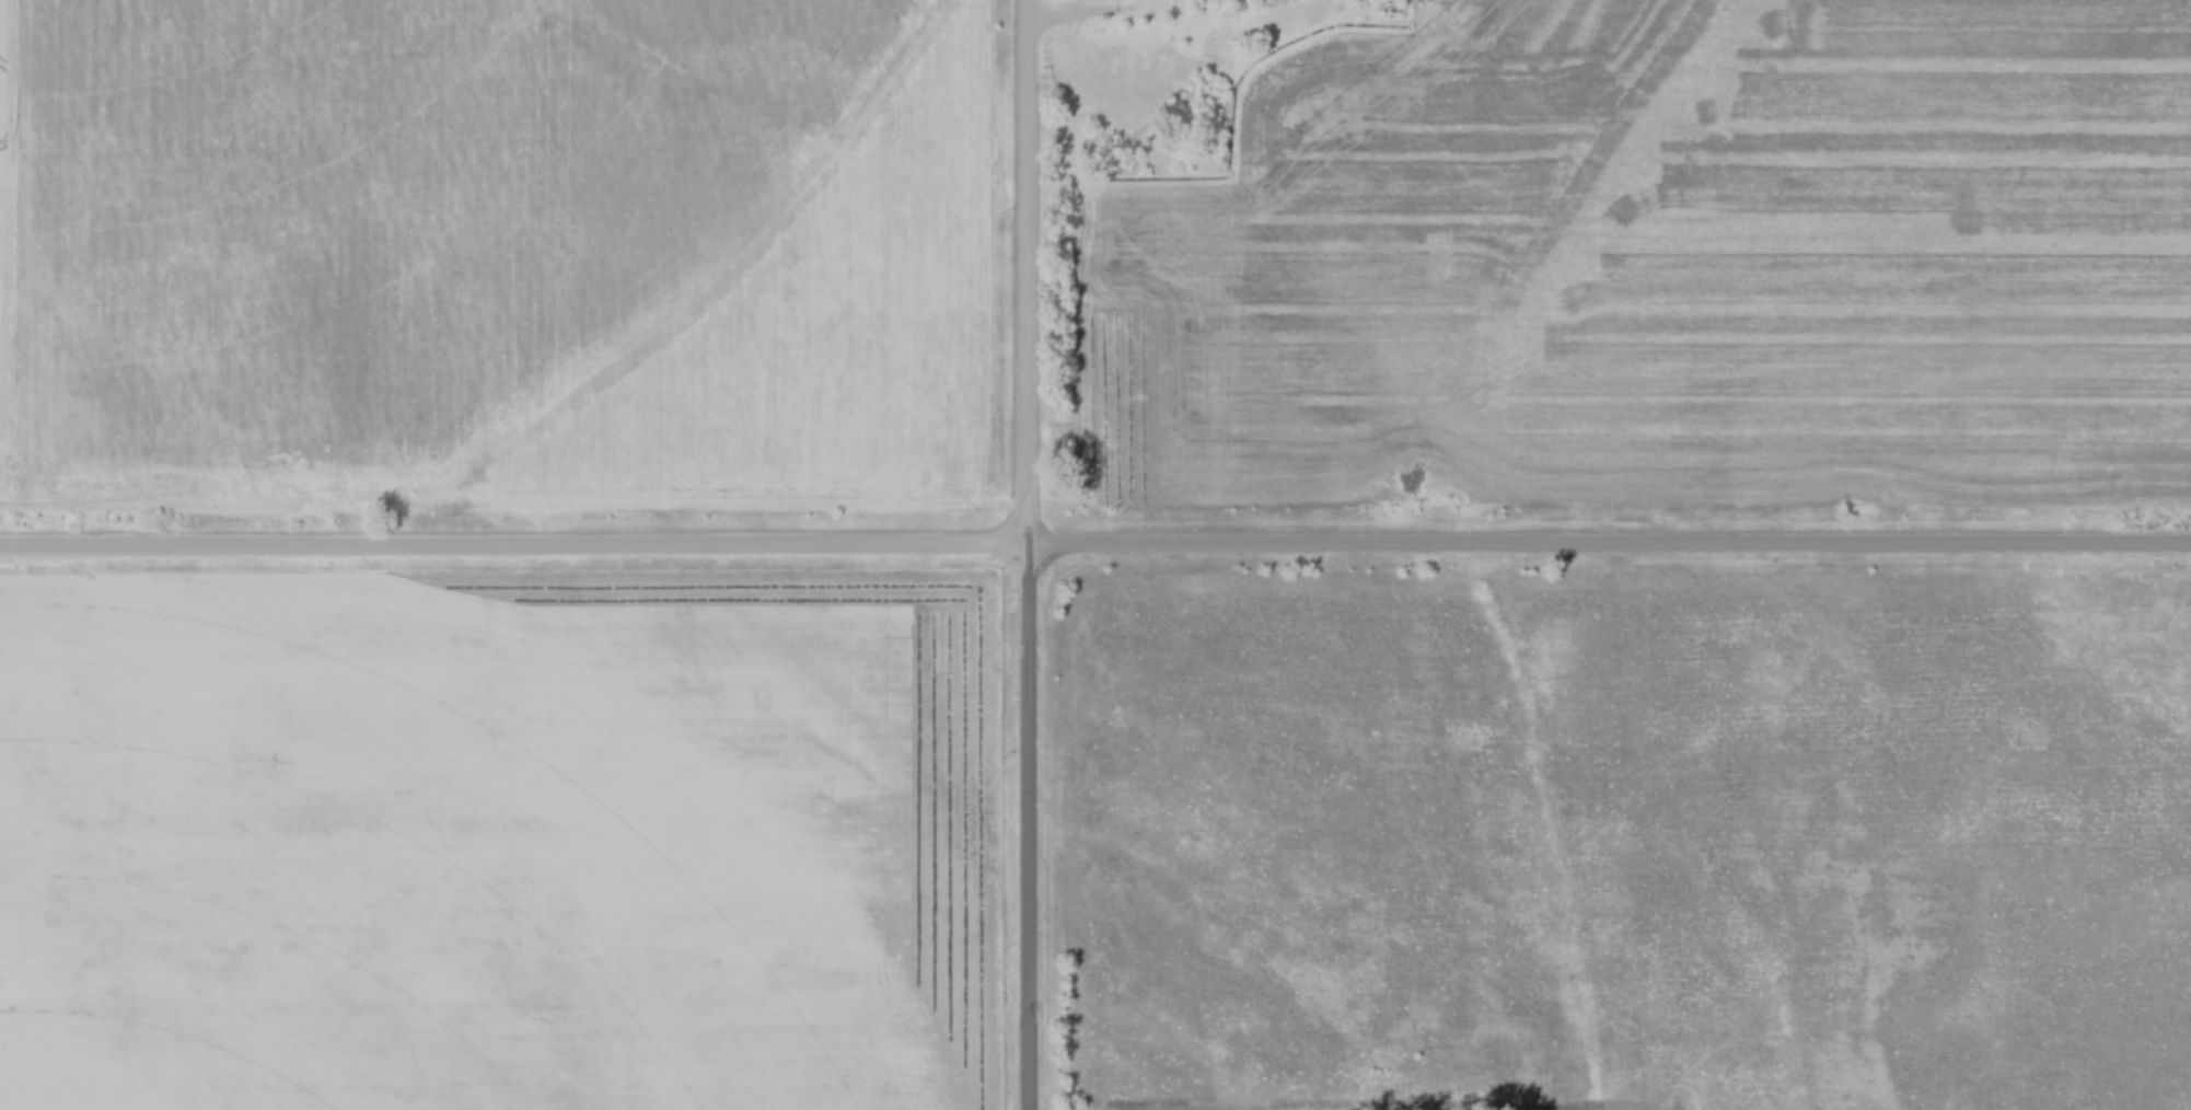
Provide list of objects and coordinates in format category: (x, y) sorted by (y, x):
road: (1091, 18)
road: (1029, 276)
road: (1610, 551)
road: (514, 552)
road: (1032, 830)

